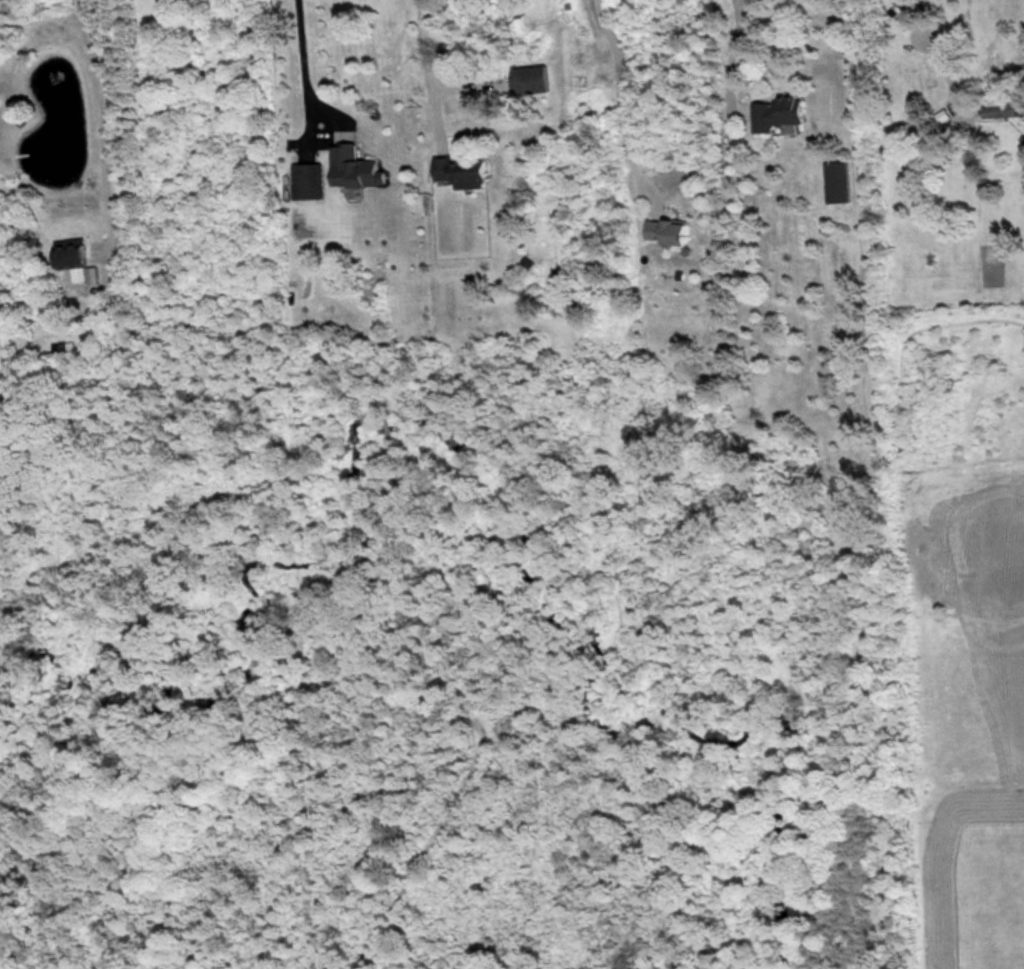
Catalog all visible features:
building: (905, 22)
road: (428, 70)
building: (534, 80)
building: (1004, 109)
building: (782, 112)
building: (362, 168)
building: (466, 172)
building: (311, 180)
building: (840, 182)
building: (675, 231)
building: (77, 259)

